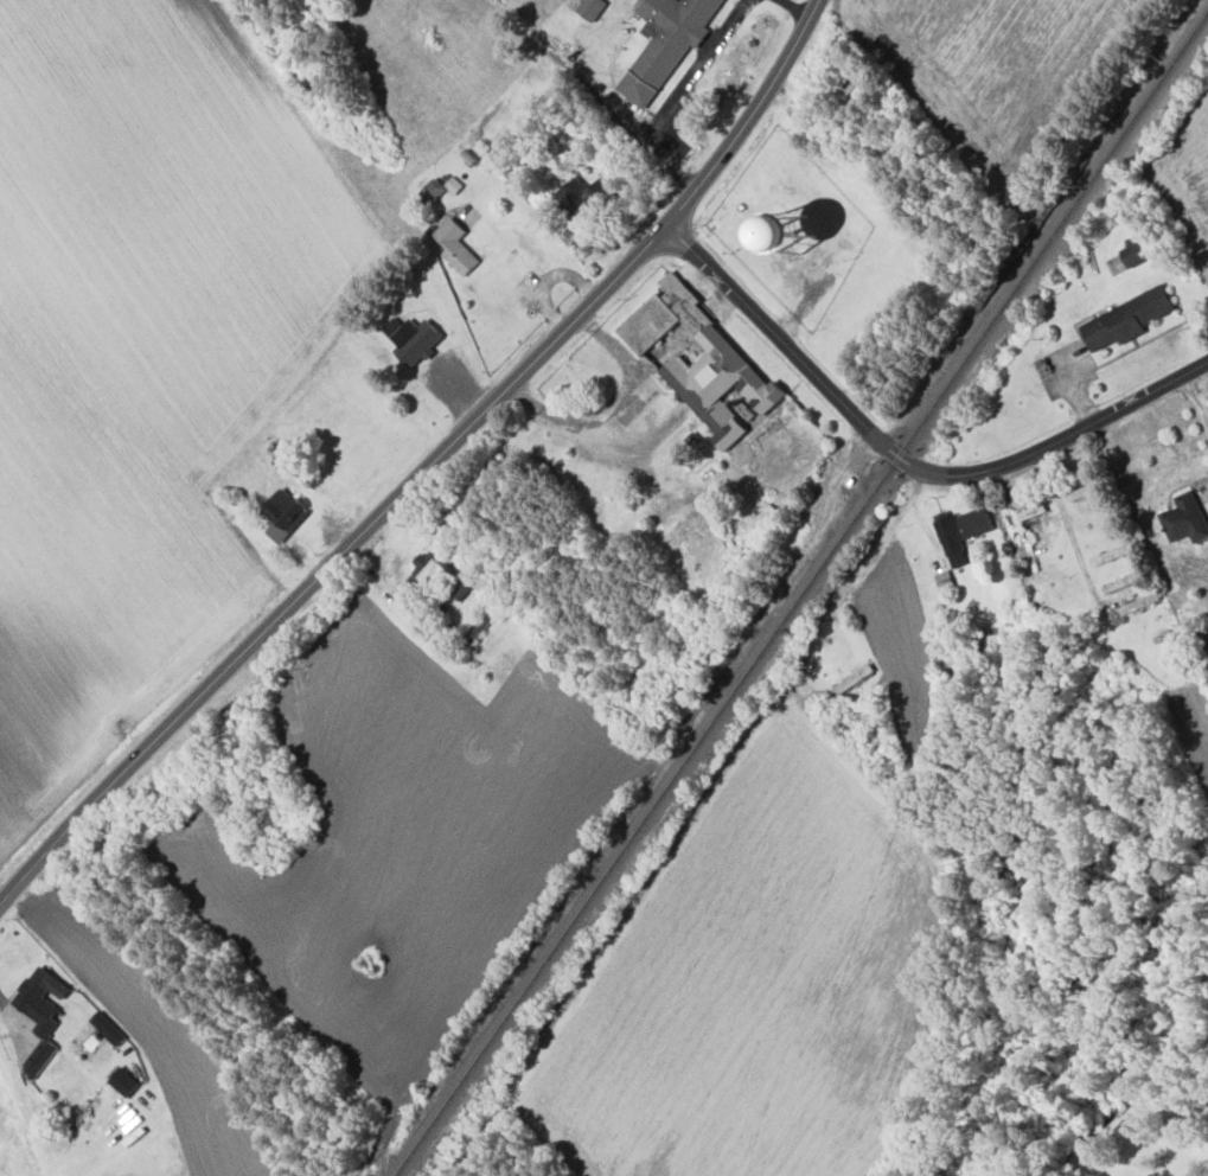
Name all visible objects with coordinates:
building: (590, 7)
building: (665, 43)
building: (432, 190)
building: (579, 196)
building: (794, 229)
building: (455, 244)
building: (1135, 253)
building: (1126, 318)
building: (414, 339)
building: (702, 360)
road: (1195, 400)
road: (902, 461)
road: (427, 468)
building: (1081, 491)
building: (1031, 511)
building: (283, 513)
building: (1185, 518)
building: (961, 531)
road: (1076, 557)
building: (426, 570)
building: (944, 581)
building: (1112, 586)
building: (462, 588)
railway: (800, 594)
building: (482, 621)
building: (859, 673)
building: (40, 998)
building: (107, 1028)
building: (39, 1056)
building: (123, 1081)

